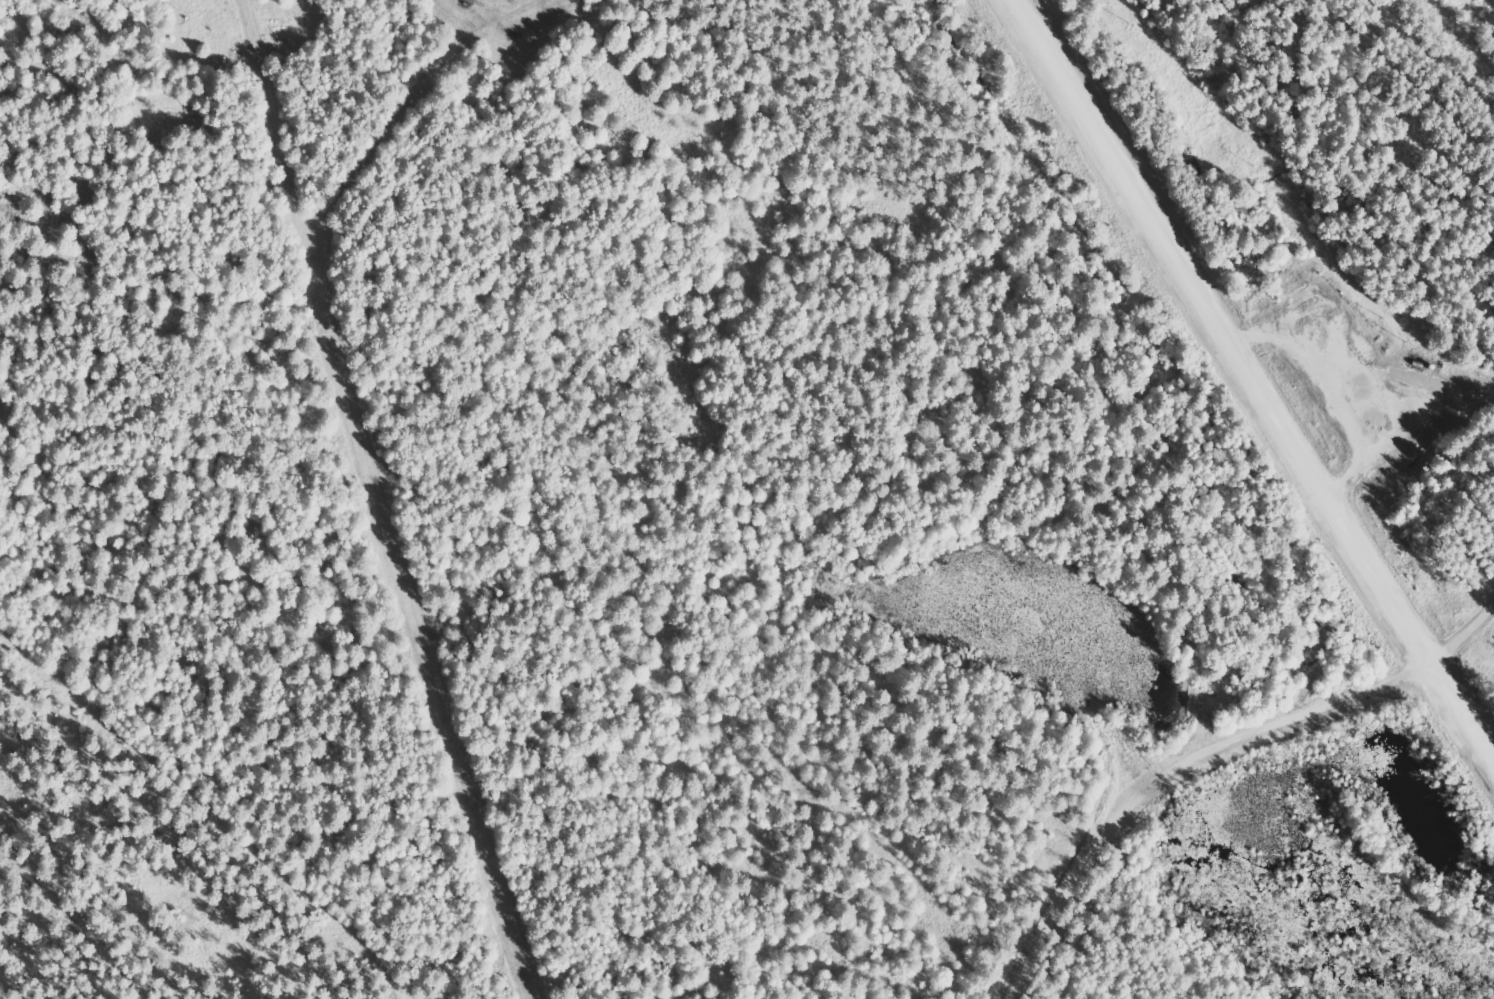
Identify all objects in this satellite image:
road: (1253, 382)
road: (1168, 769)

